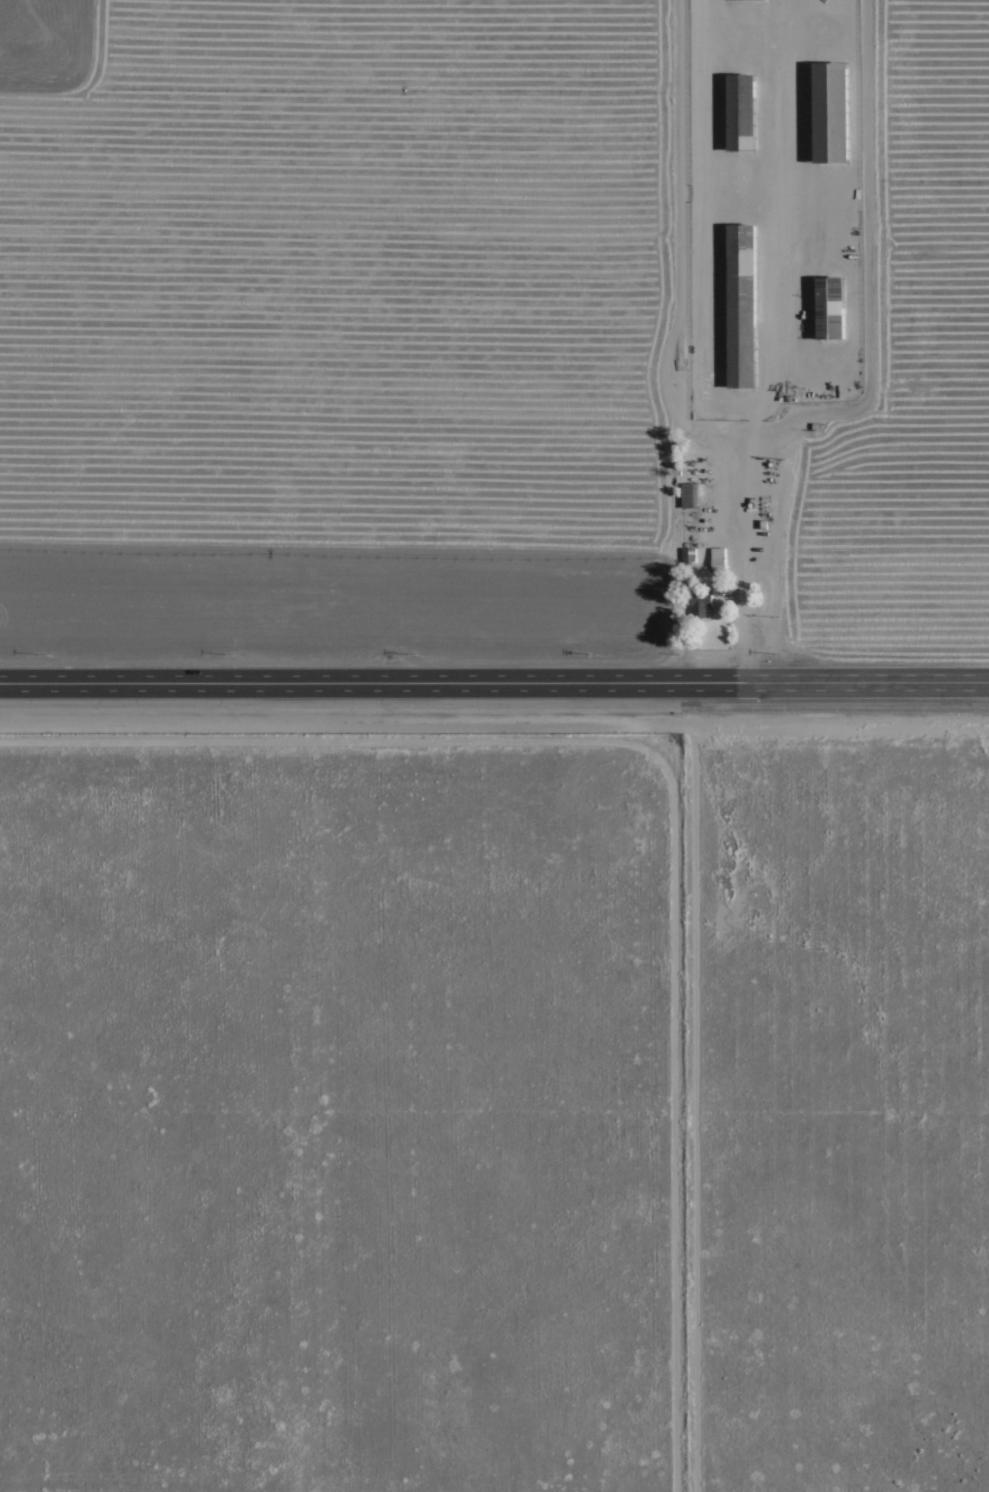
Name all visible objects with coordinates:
building: (741, 110)
building: (831, 110)
building: (742, 305)
building: (830, 307)
road: (678, 358)
crop: (454, 361)
building: (698, 455)
building: (688, 521)
building: (718, 560)
building: (697, 604)
road: (494, 681)

